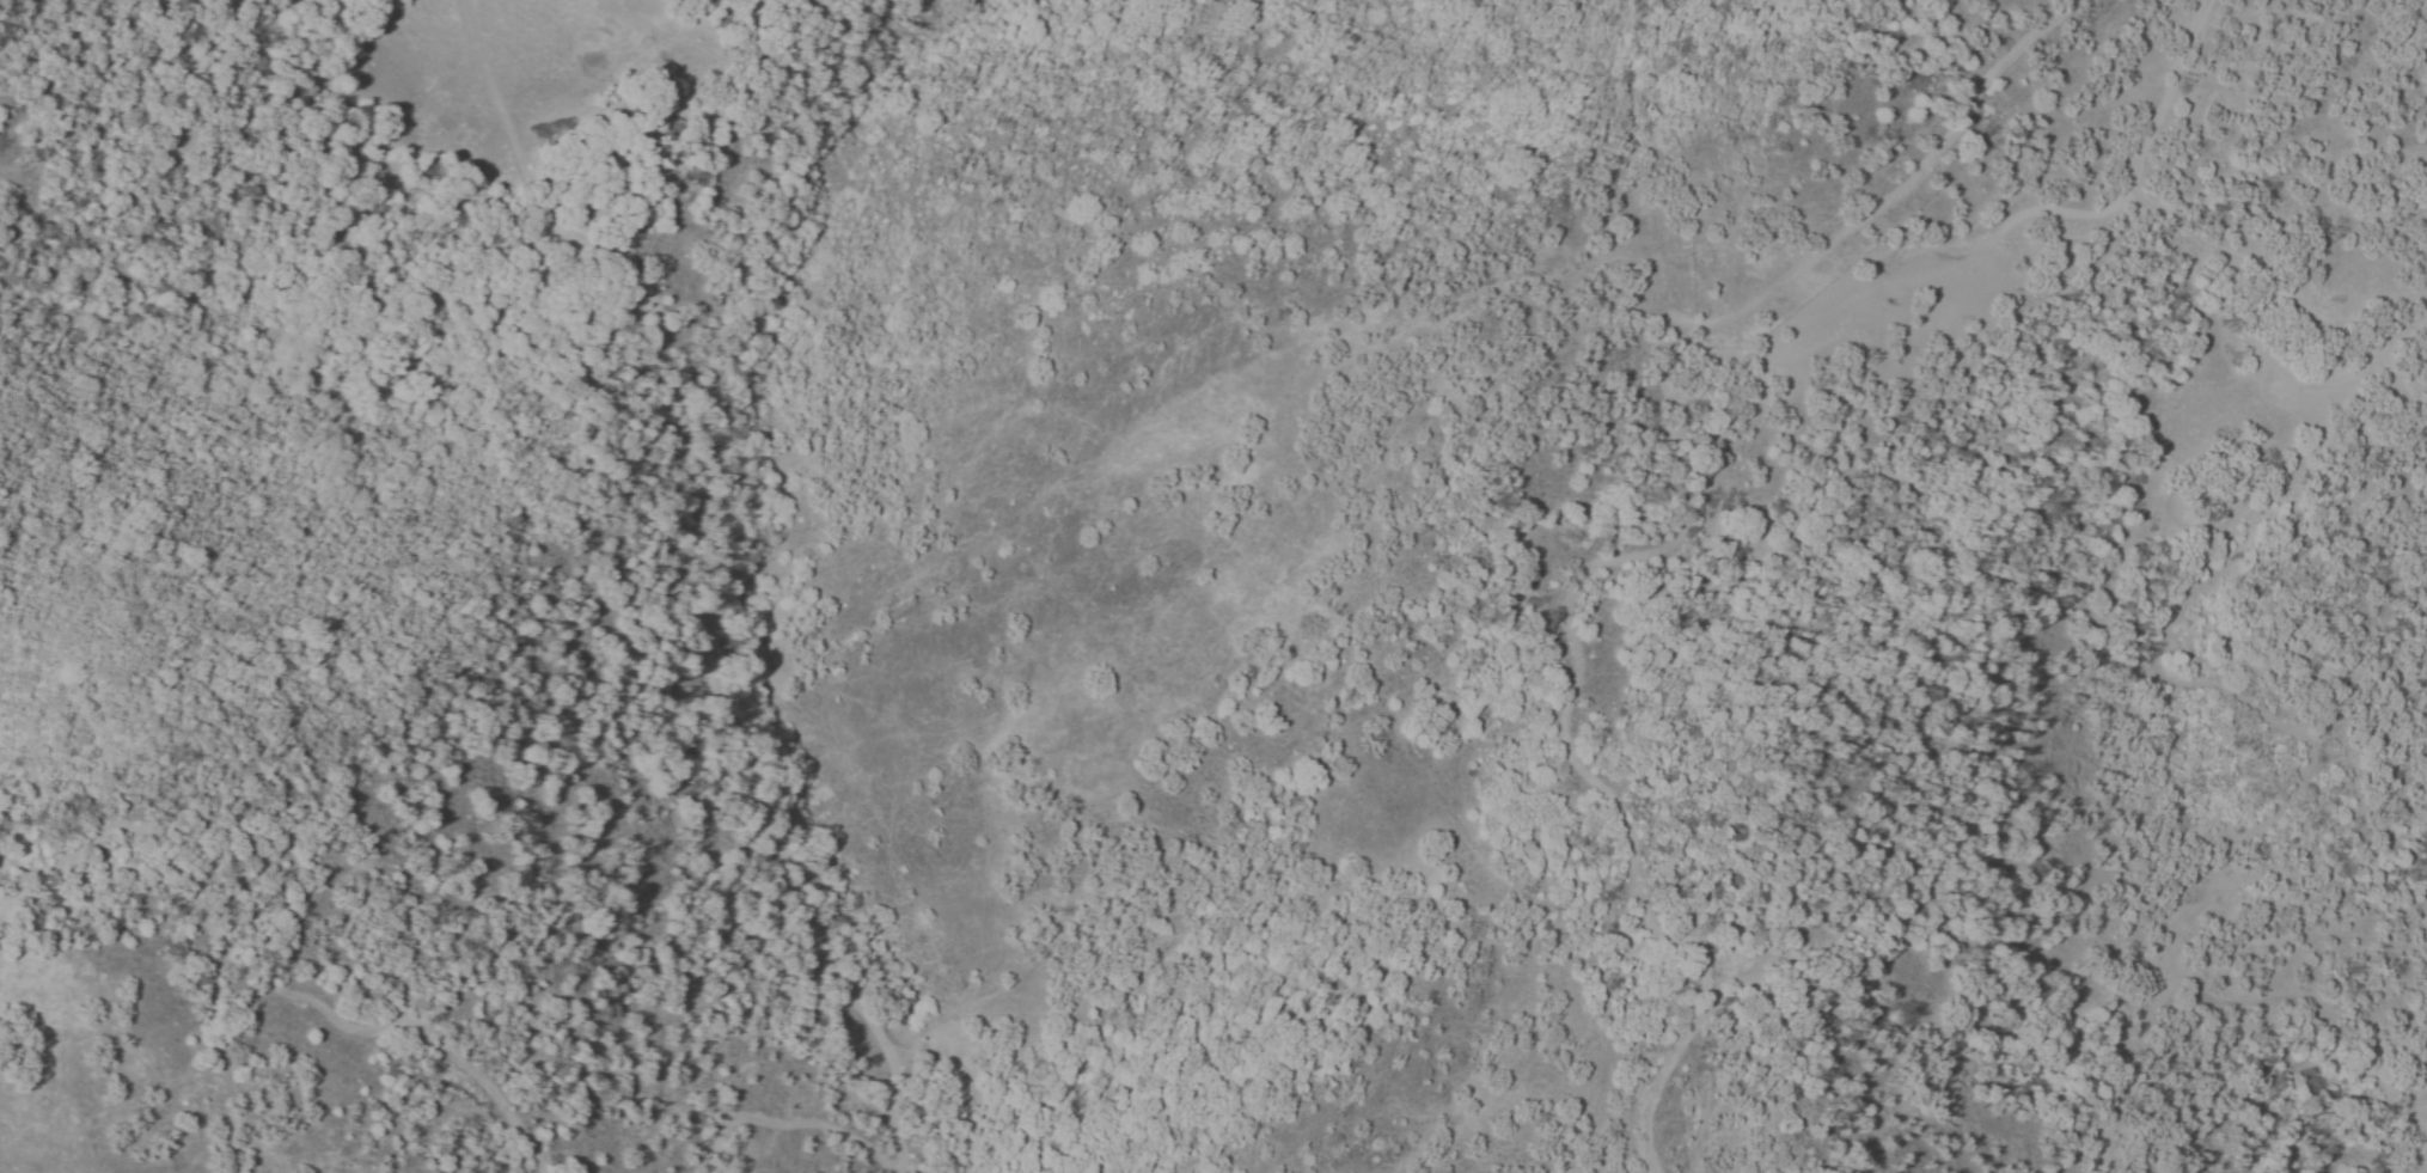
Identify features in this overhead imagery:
road: (2168, 94)
road: (1895, 187)
road: (1870, 292)
road: (2267, 353)
road: (1584, 762)
road: (2212, 880)
road: (274, 989)
road: (2419, 1053)
road: (2125, 1065)
road: (2398, 1116)

